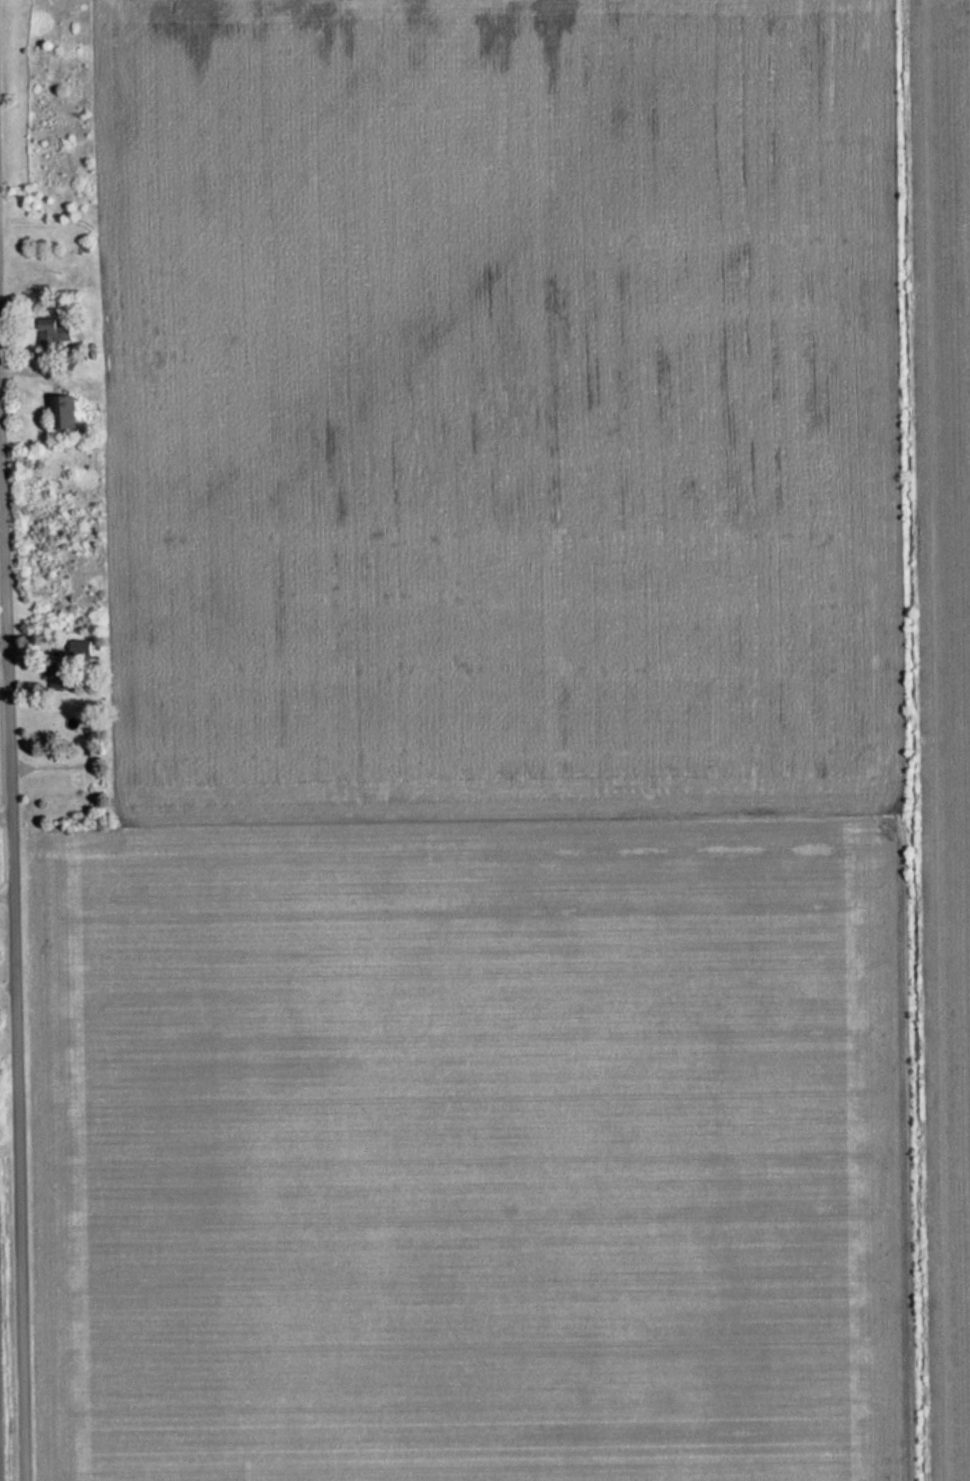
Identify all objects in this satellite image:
crop: (492, 400)
building: (56, 410)
crop: (938, 646)
road: (10, 841)
crop: (463, 1152)

